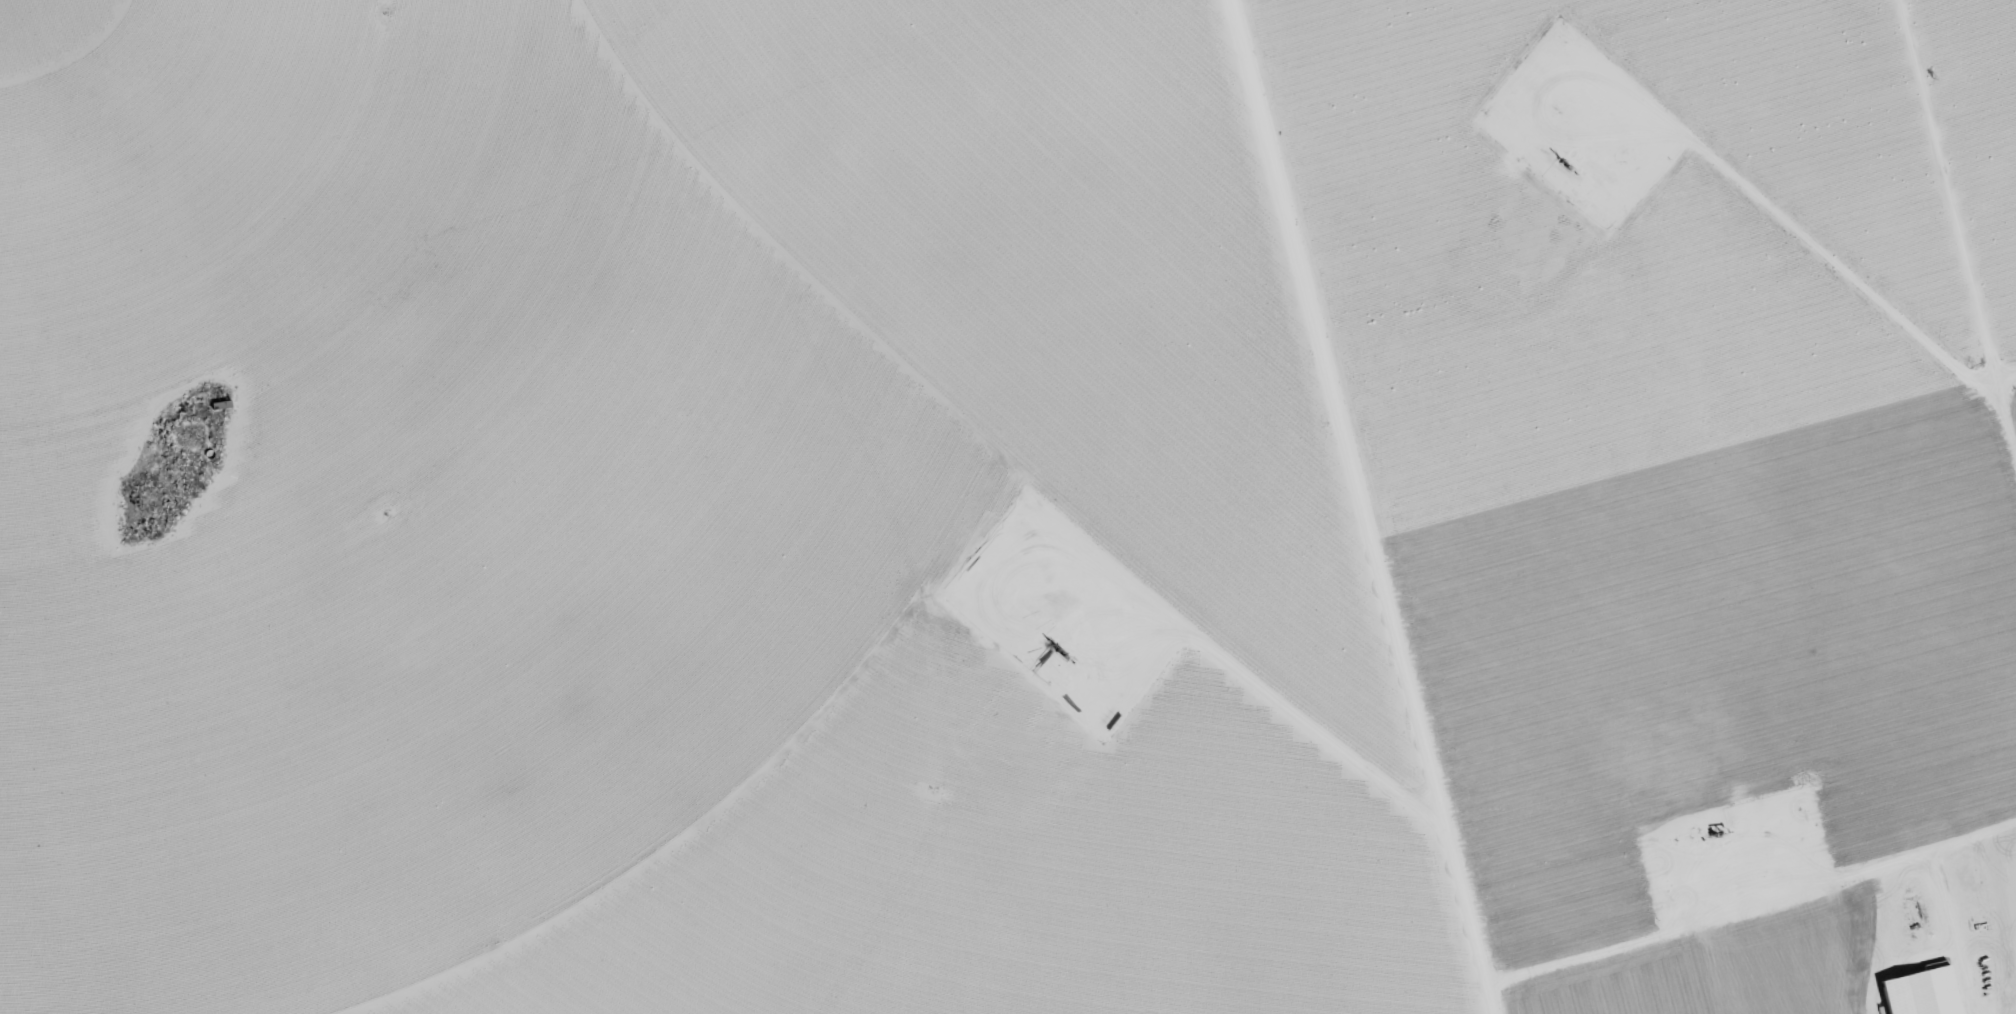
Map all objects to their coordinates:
road: (1358, 506)
road: (285, 779)
building: (1917, 992)

